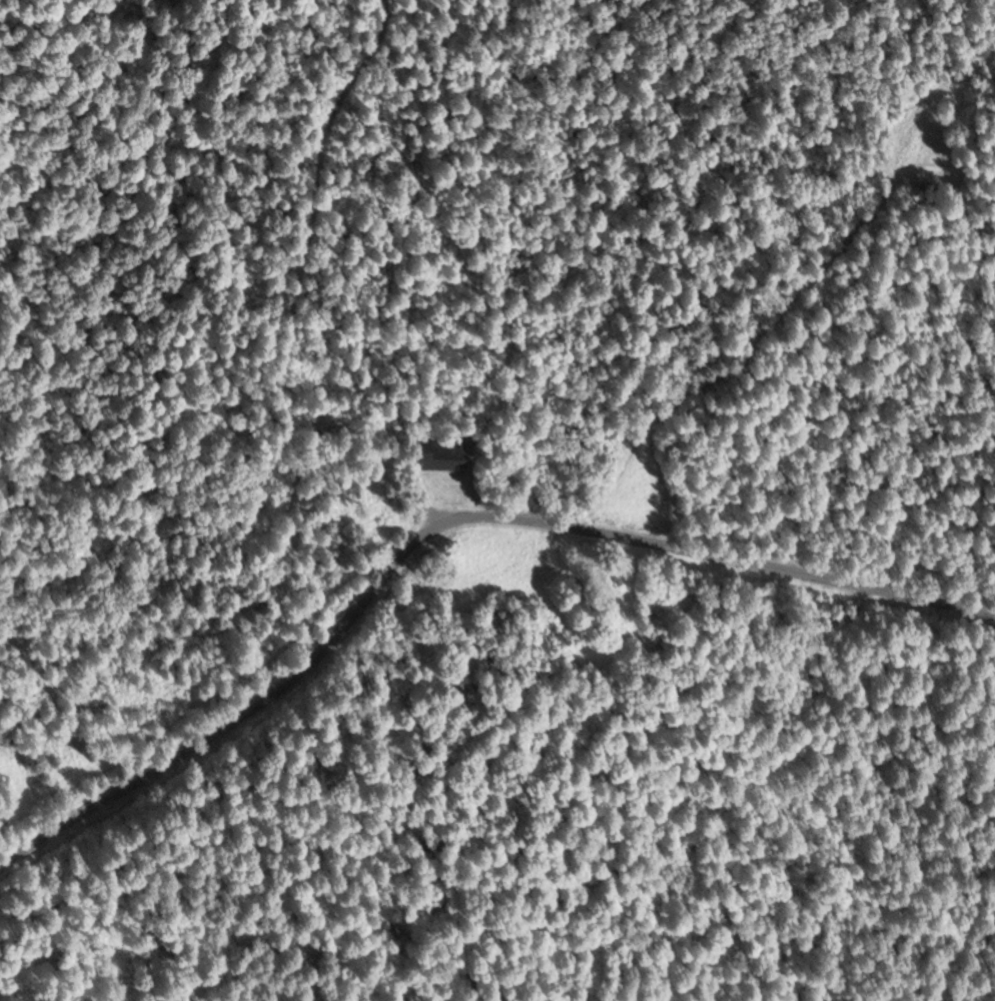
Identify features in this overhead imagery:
road: (442, 527)

